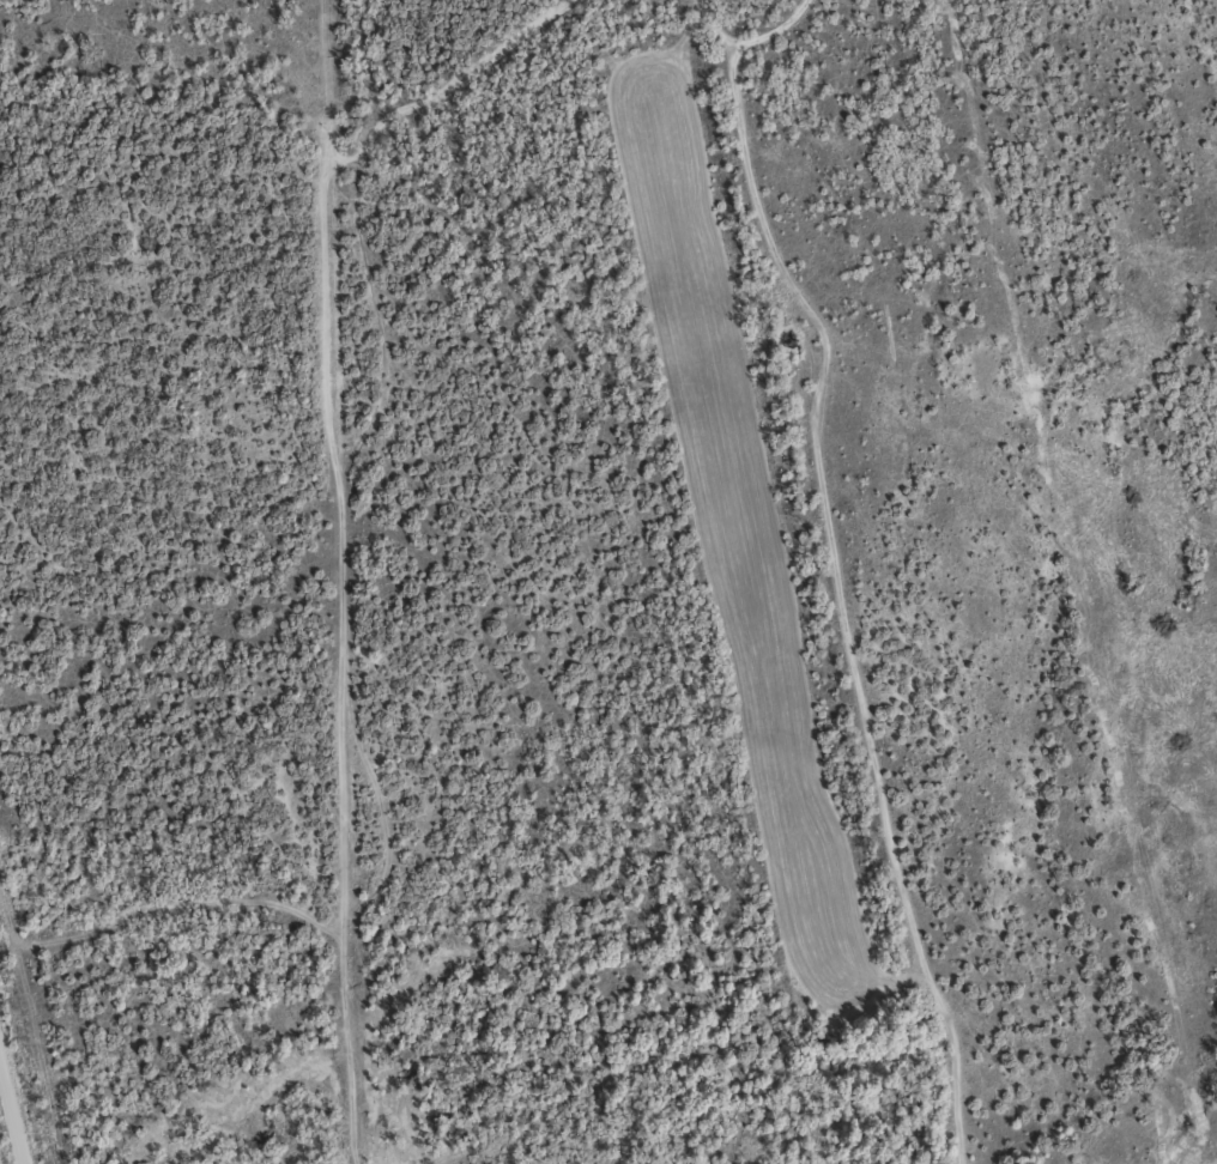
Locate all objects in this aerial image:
road: (834, 559)

